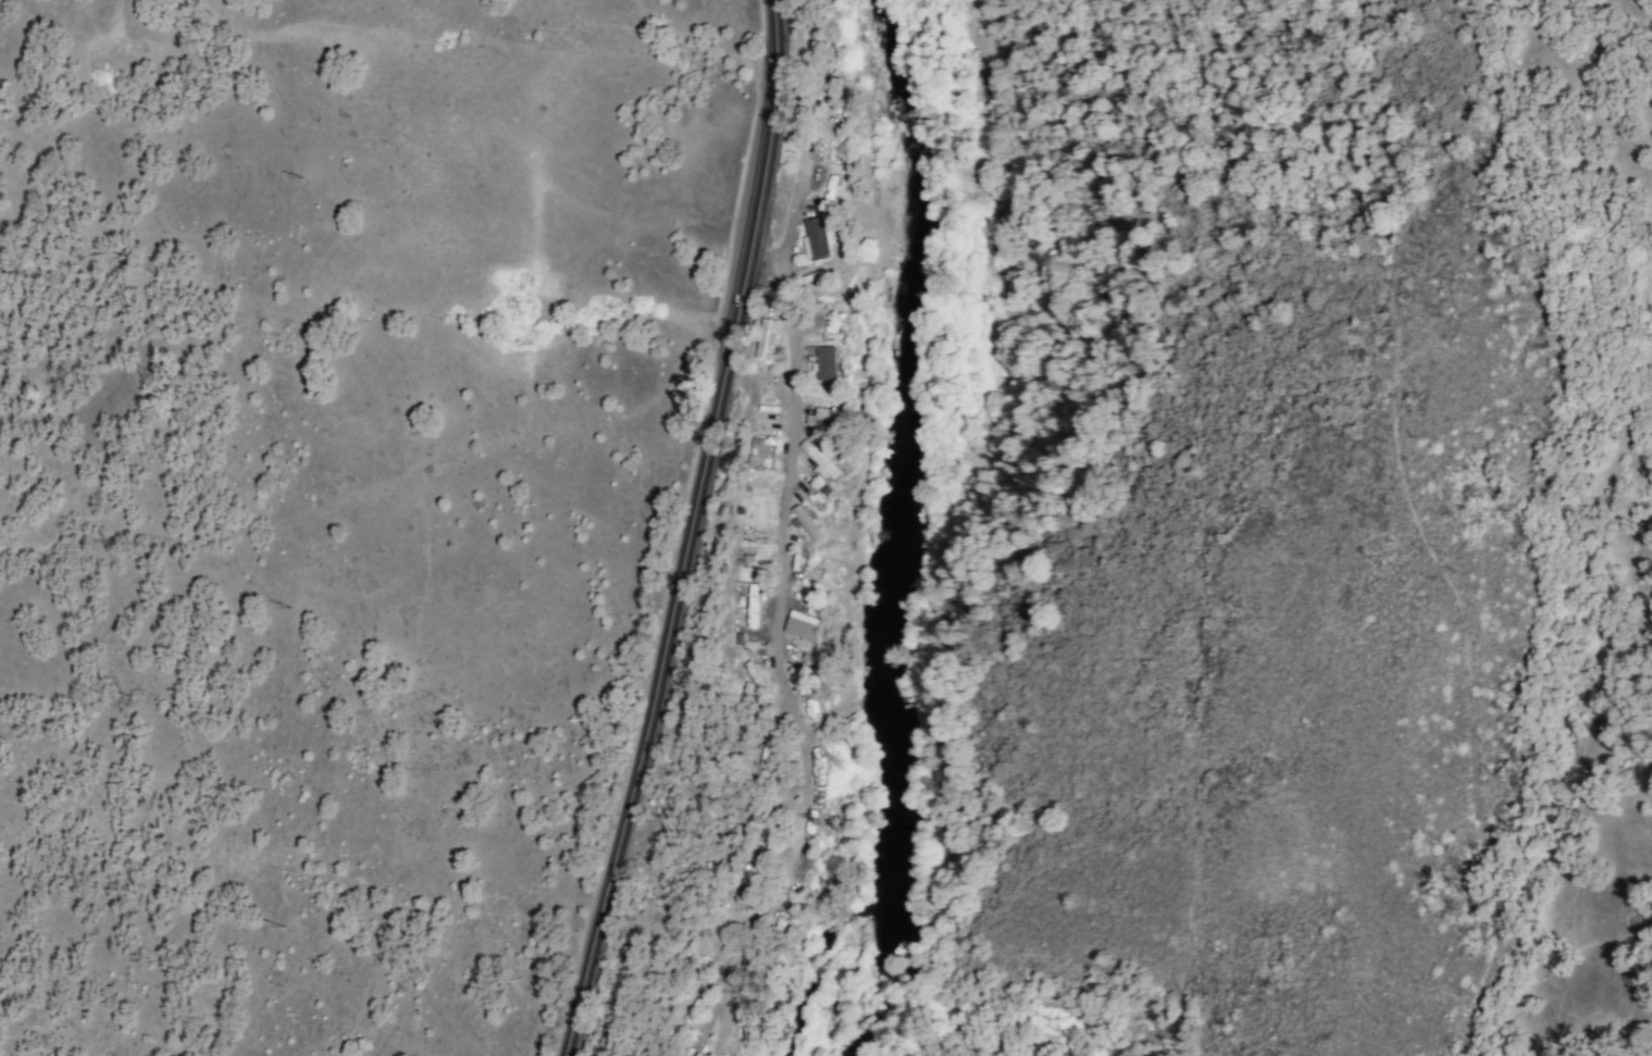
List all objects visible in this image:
road: (773, 40)
building: (823, 129)
building: (831, 189)
road: (788, 227)
building: (816, 240)
building: (765, 340)
building: (827, 364)
building: (824, 423)
river: (907, 445)
building: (820, 461)
building: (806, 523)
road: (675, 569)
building: (752, 607)
building: (804, 631)
road: (773, 667)
building: (756, 680)
building: (763, 759)
building: (779, 925)
river: (884, 977)
building: (692, 1011)
building: (690, 1052)

